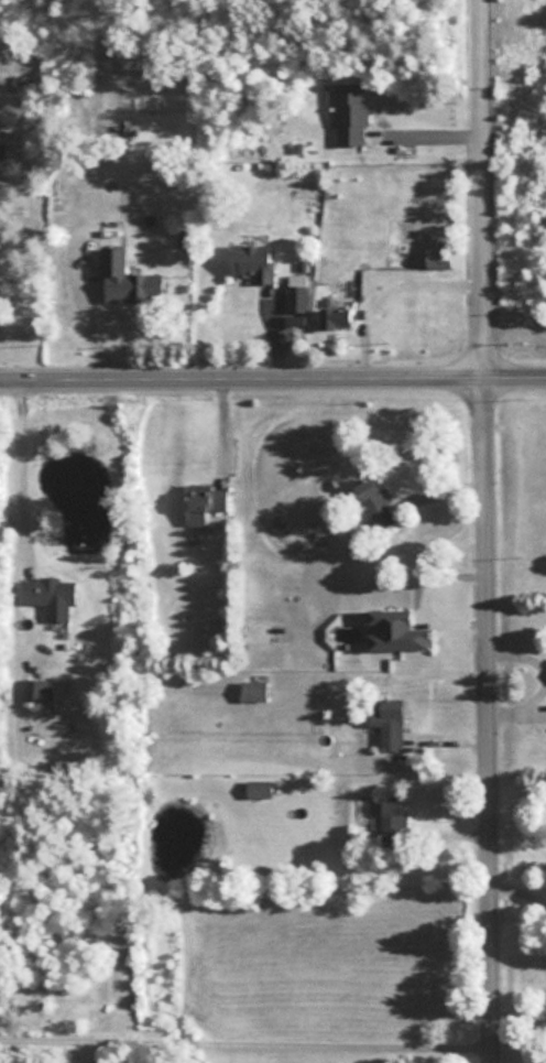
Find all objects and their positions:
building: (350, 113)
road: (424, 137)
building: (6, 155)
building: (439, 261)
building: (255, 263)
building: (129, 281)
building: (296, 299)
road: (86, 313)
building: (336, 317)
building: (294, 319)
road: (273, 373)
road: (216, 427)
road: (23, 467)
building: (208, 503)
building: (374, 503)
road: (484, 531)
building: (55, 598)
road: (417, 599)
building: (394, 632)
building: (262, 636)
building: (41, 693)
building: (258, 693)
building: (390, 724)
building: (258, 789)
building: (392, 818)
road: (518, 892)
road: (245, 1044)

